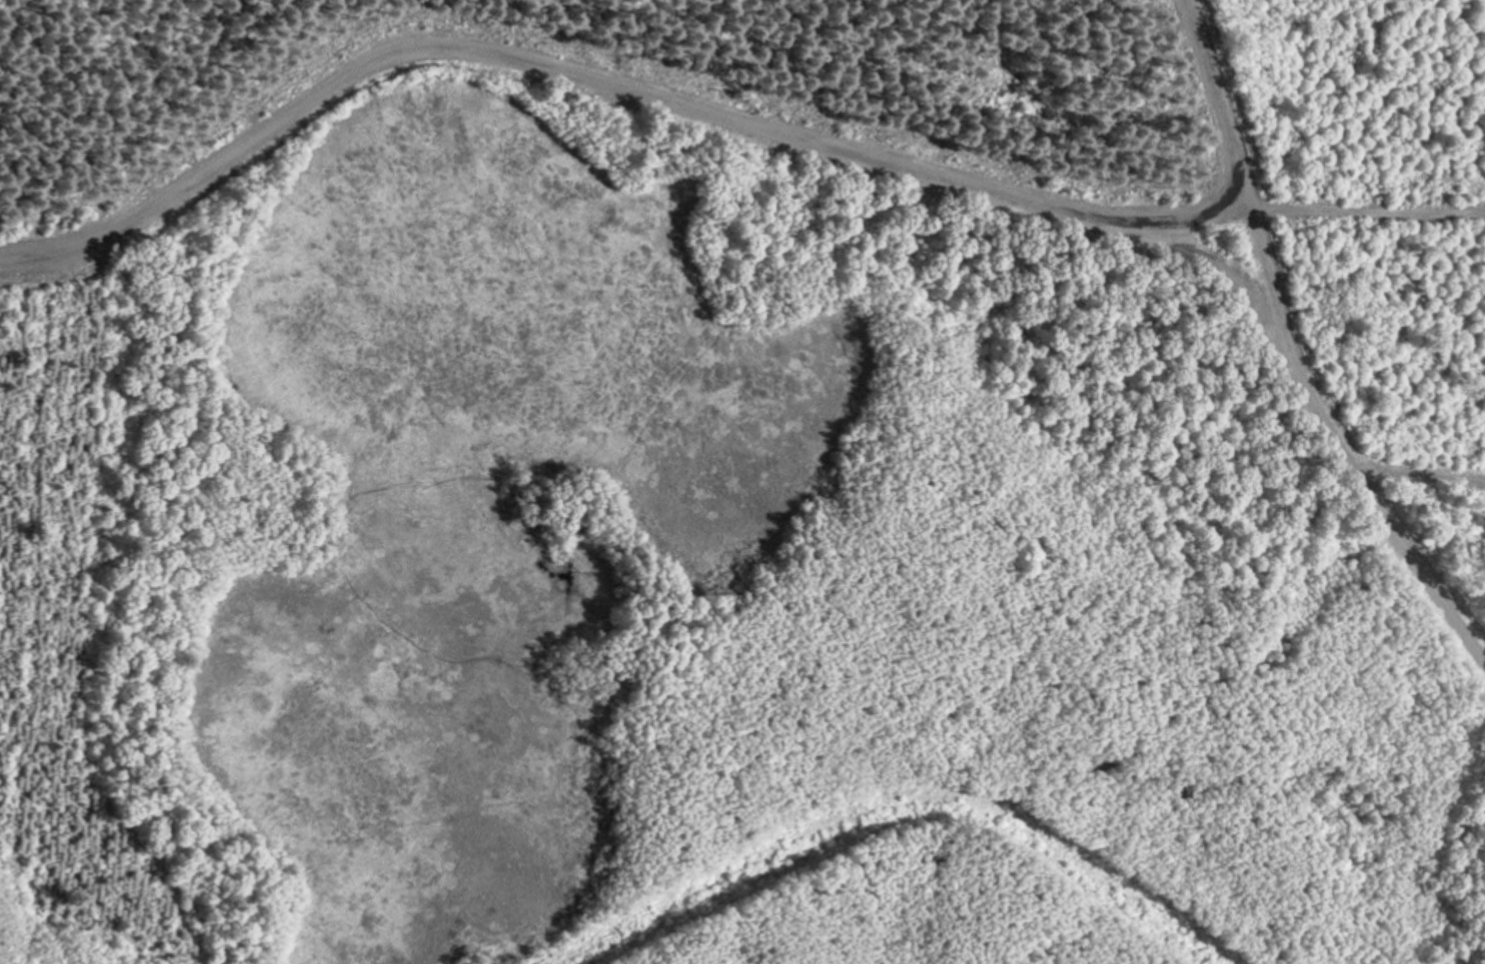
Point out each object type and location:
road: (648, 99)
road: (1237, 179)
road: (1307, 209)
road: (1411, 469)
road: (1377, 516)

